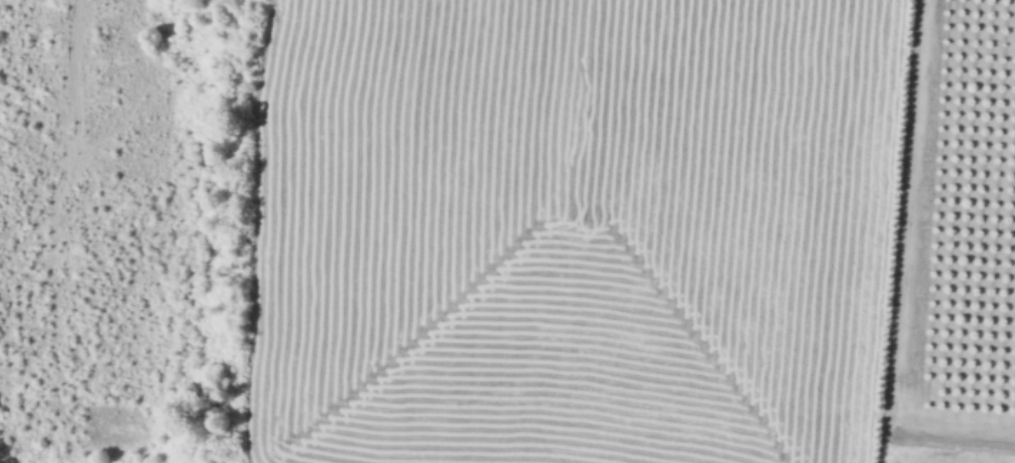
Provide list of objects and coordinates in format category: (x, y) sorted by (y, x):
road: (73, 11)
road: (81, 90)
crop: (567, 230)

